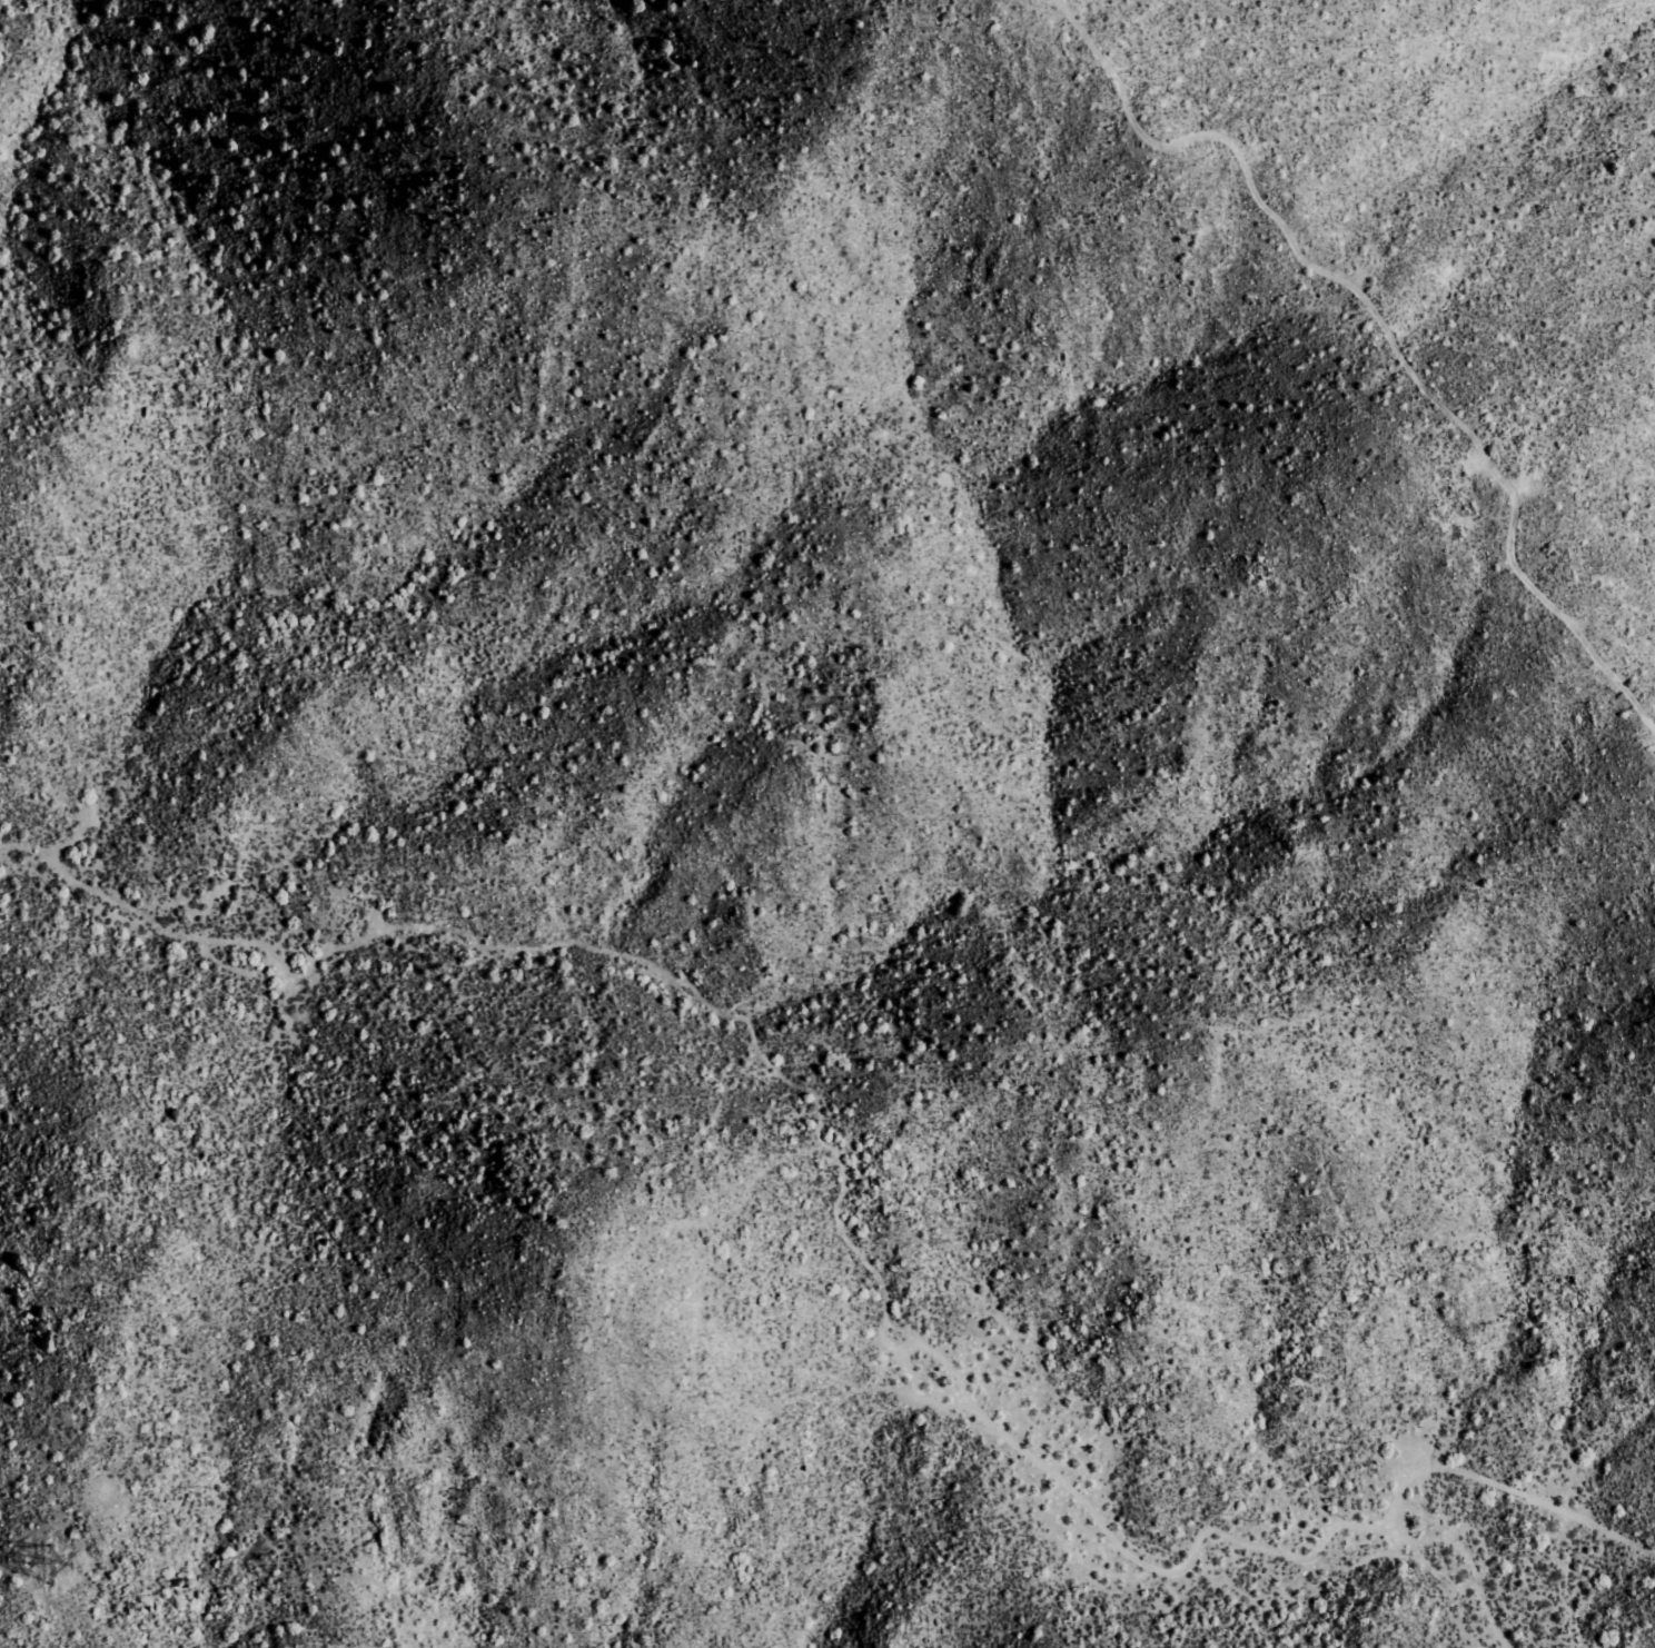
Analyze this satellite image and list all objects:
power tower: (67, 1562)

